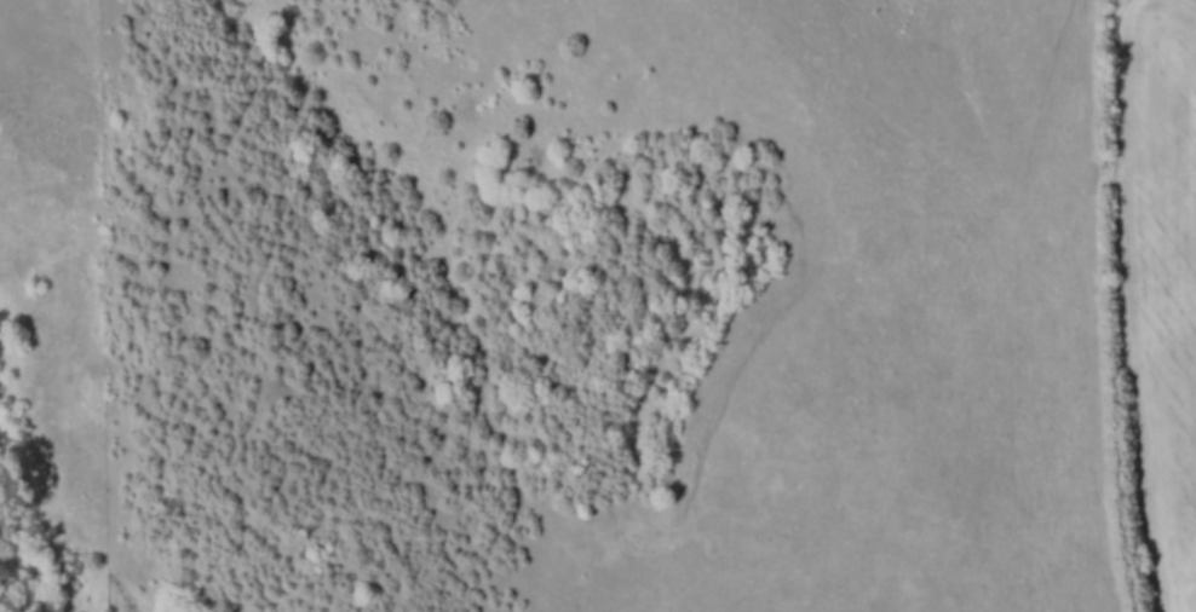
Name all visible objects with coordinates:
crop: (1166, 270)

